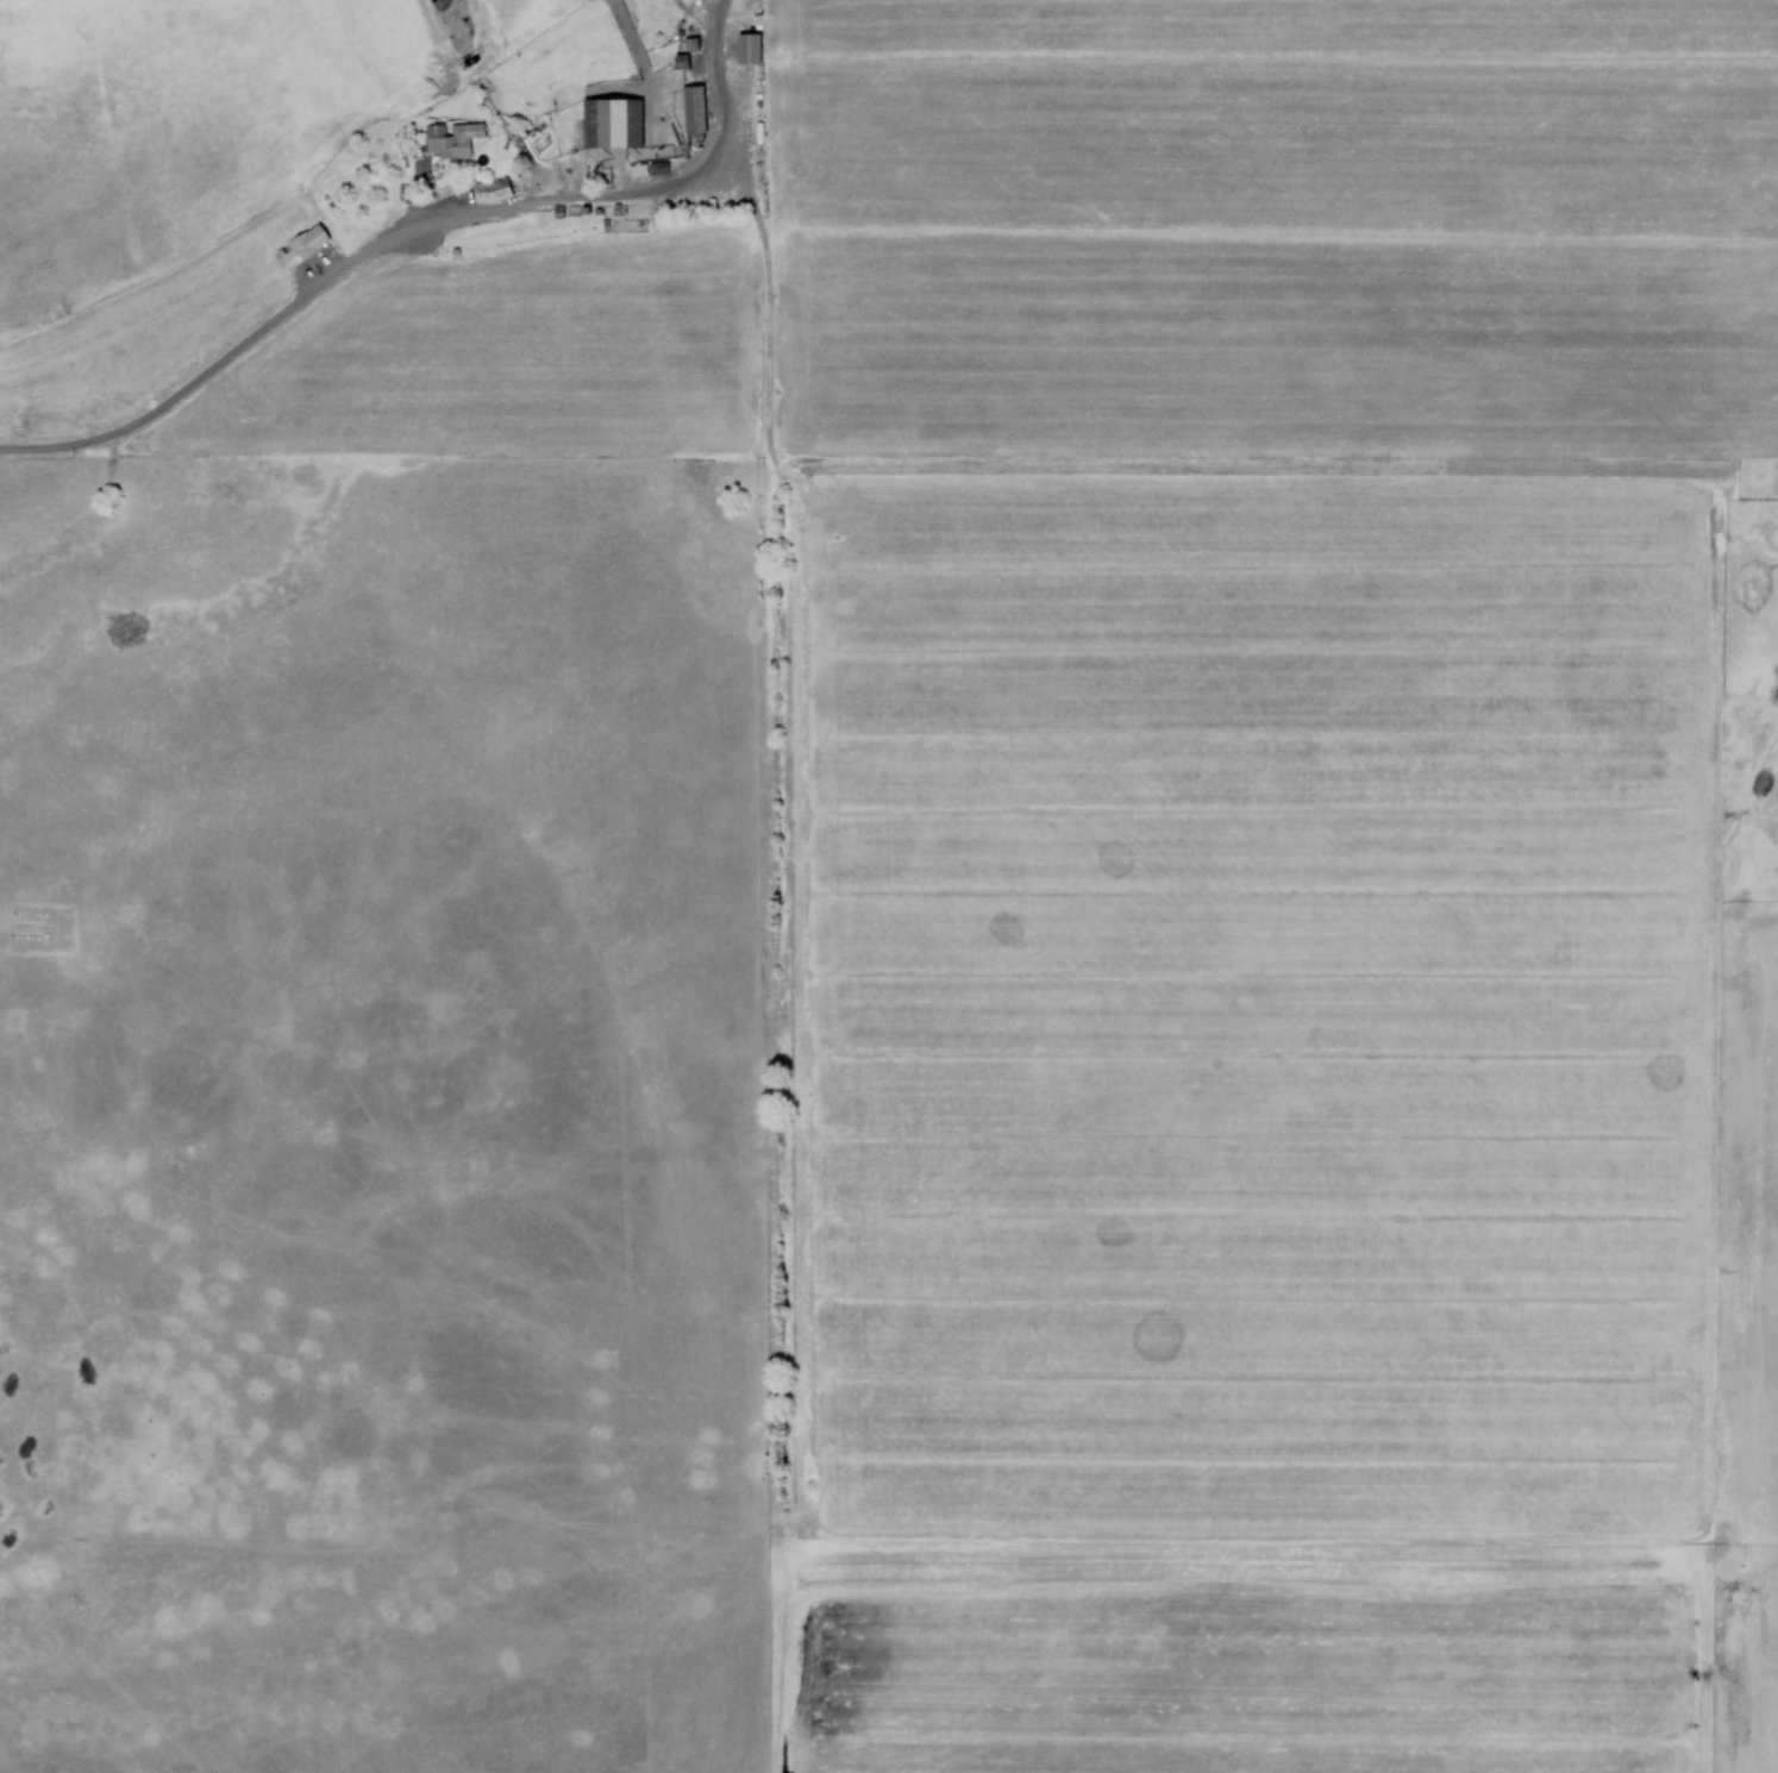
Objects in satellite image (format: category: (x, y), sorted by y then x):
building: (749, 48)
building: (693, 108)
building: (612, 123)
building: (420, 169)
building: (490, 190)
road: (411, 233)
building: (302, 245)
road: (796, 1115)

